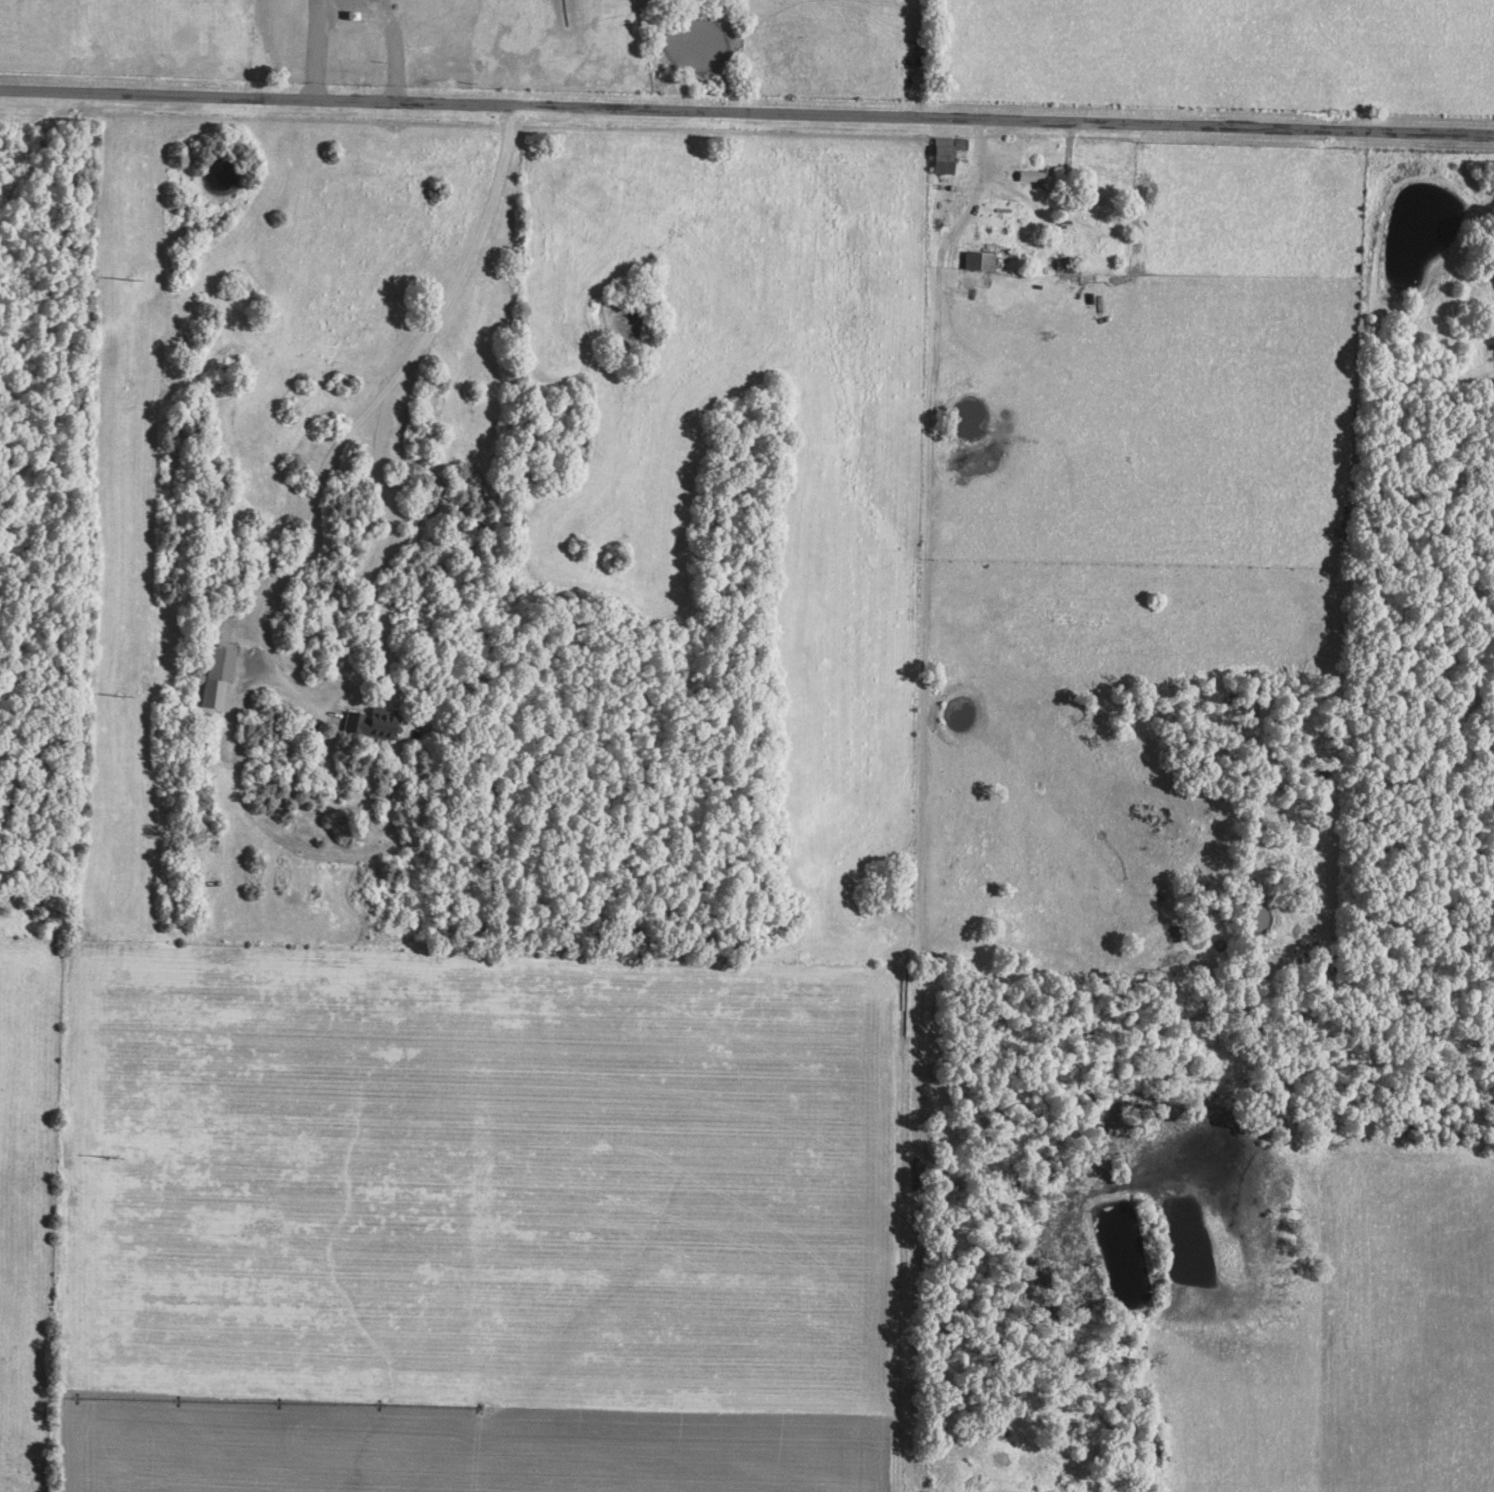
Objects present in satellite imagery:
building: (417, 14)
building: (348, 47)
road: (746, 114)
building: (946, 154)
building: (1038, 179)
building: (979, 262)
road: (292, 572)
building: (218, 674)
building: (372, 721)

